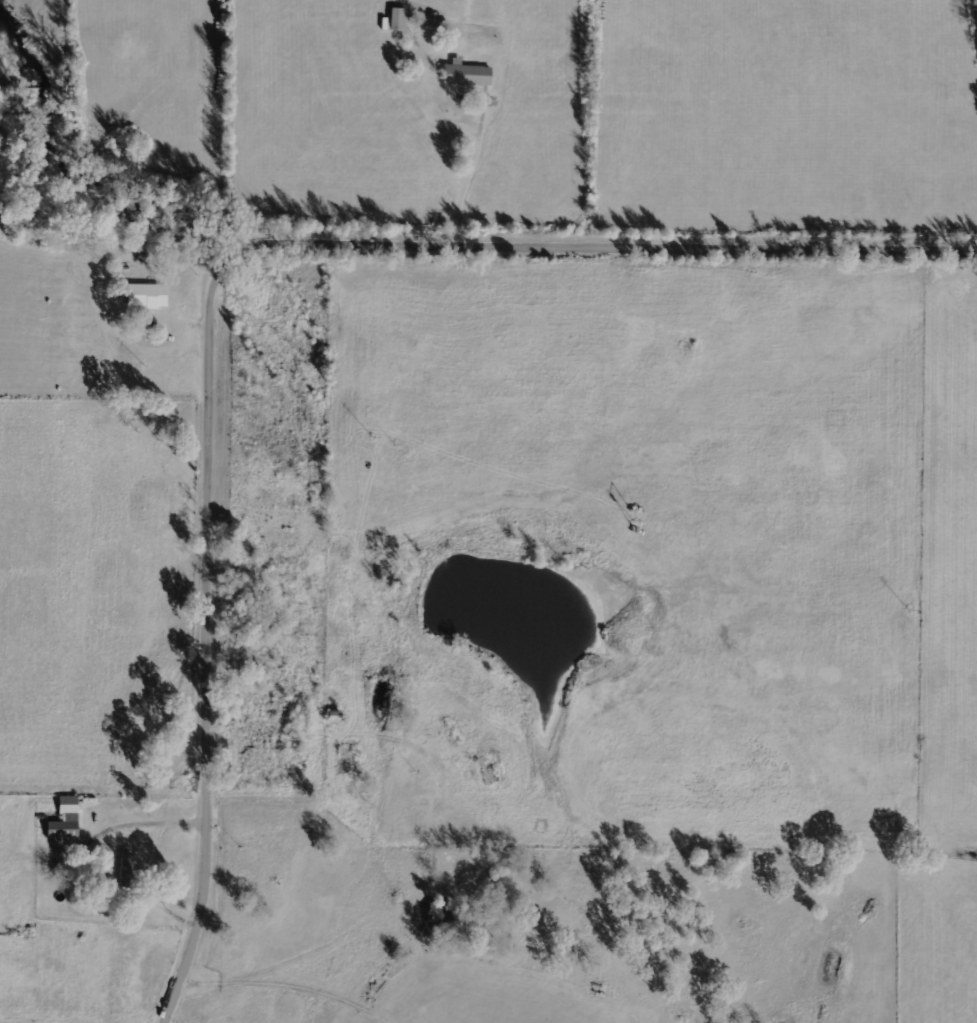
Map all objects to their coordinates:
building: (397, 18)
building: (467, 74)
road: (226, 271)
building: (147, 296)
road: (321, 360)
road: (407, 382)
road: (340, 471)
building: (66, 820)

